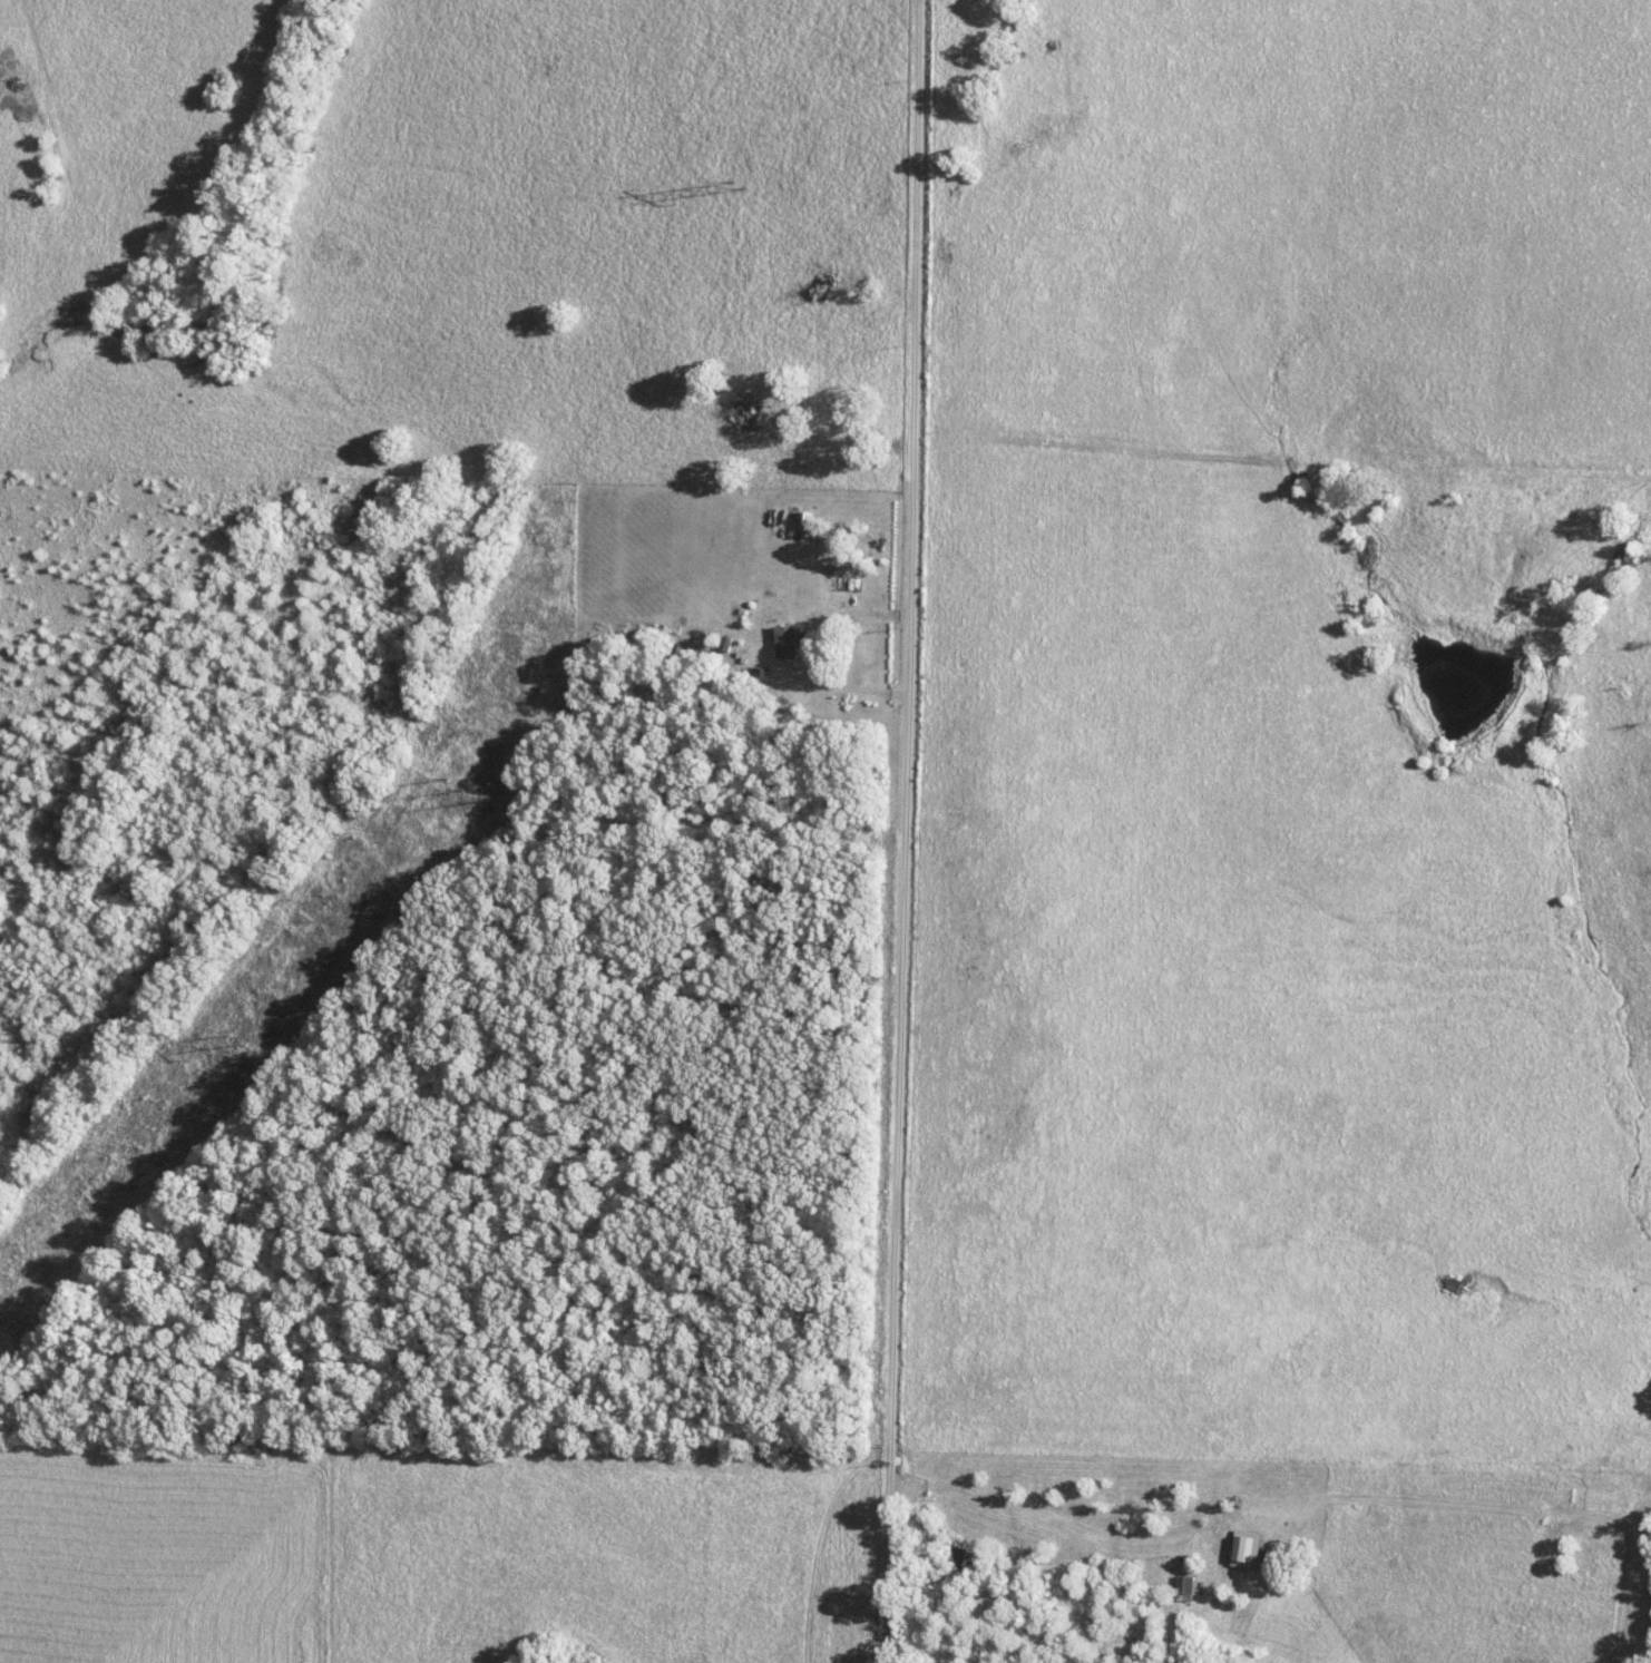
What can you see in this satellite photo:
power tower: (737, 184)
building: (790, 640)
road: (821, 646)
power tower: (462, 791)
road: (911, 831)
power tower: (229, 1039)

